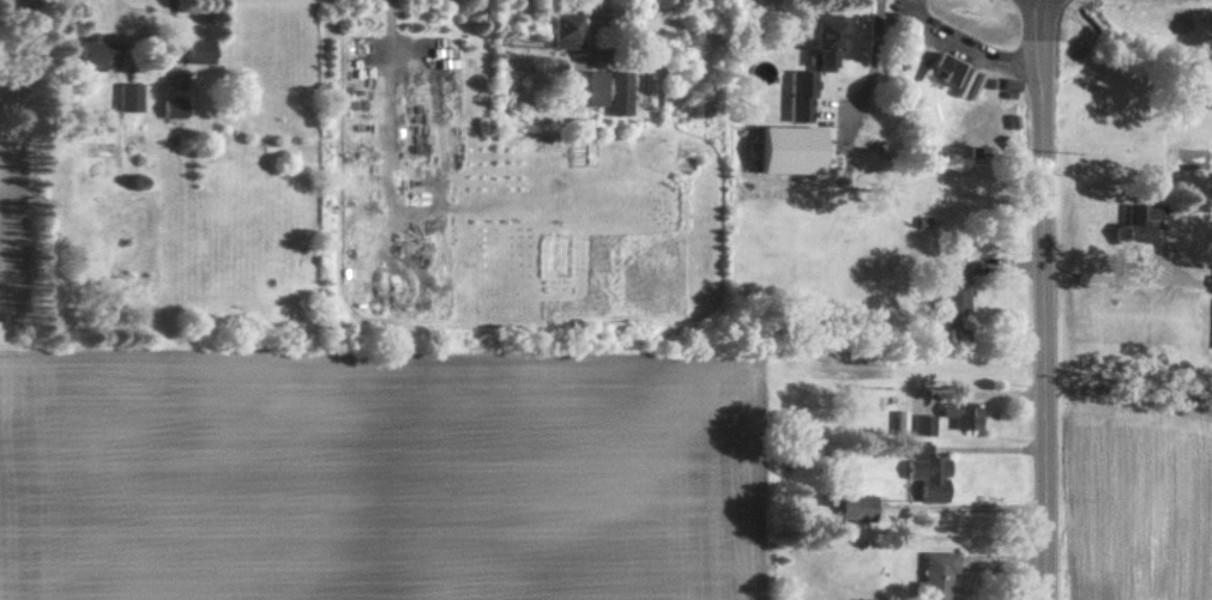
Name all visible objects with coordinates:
building: (560, 28)
building: (812, 42)
building: (195, 49)
building: (92, 54)
building: (936, 67)
building: (595, 89)
building: (127, 97)
building: (792, 107)
building: (171, 110)
building: (1128, 220)
building: (946, 287)
road: (1039, 299)
building: (1208, 322)
building: (957, 413)
building: (921, 423)
building: (922, 471)
building: (846, 504)
building: (933, 575)

